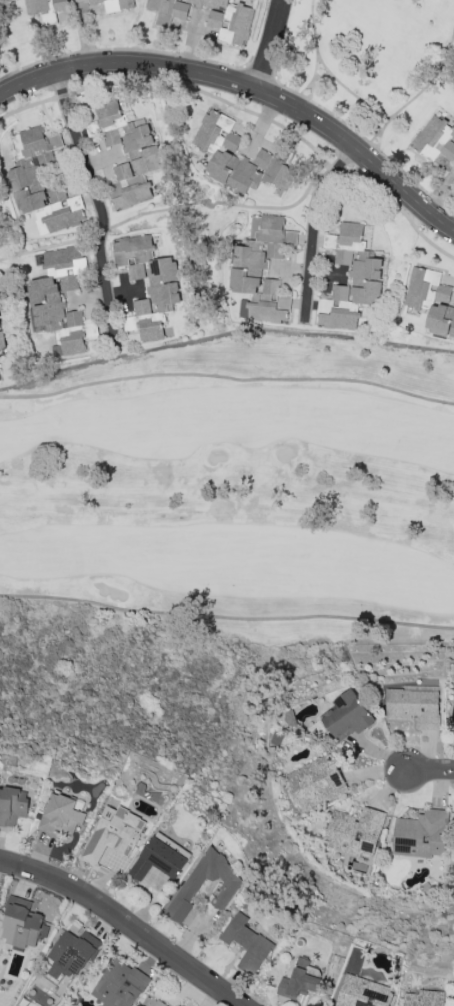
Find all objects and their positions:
building: (209, 16)
park: (8, 23)
road: (313, 28)
road: (272, 46)
road: (321, 62)
road: (431, 77)
road: (245, 87)
road: (302, 89)
road: (309, 95)
road: (356, 97)
road: (379, 131)
road: (373, 136)
building: (435, 139)
road: (372, 145)
road: (367, 150)
building: (128, 151)
building: (237, 156)
building: (42, 182)
road: (102, 205)
road: (314, 227)
building: (260, 269)
building: (350, 278)
building: (147, 283)
building: (61, 299)
building: (431, 300)
road: (224, 333)
building: (1, 341)
road: (227, 378)
road: (226, 618)
building: (347, 715)
road: (430, 771)
building: (315, 782)
building: (12, 805)
building: (60, 815)
building: (354, 831)
building: (114, 833)
building: (421, 834)
building: (160, 857)
building: (186, 893)
road: (126, 922)
building: (20, 923)
building: (247, 943)
building: (71, 953)
building: (300, 979)
building: (119, 984)
building: (363, 992)
building: (424, 998)
building: (158, 1003)

